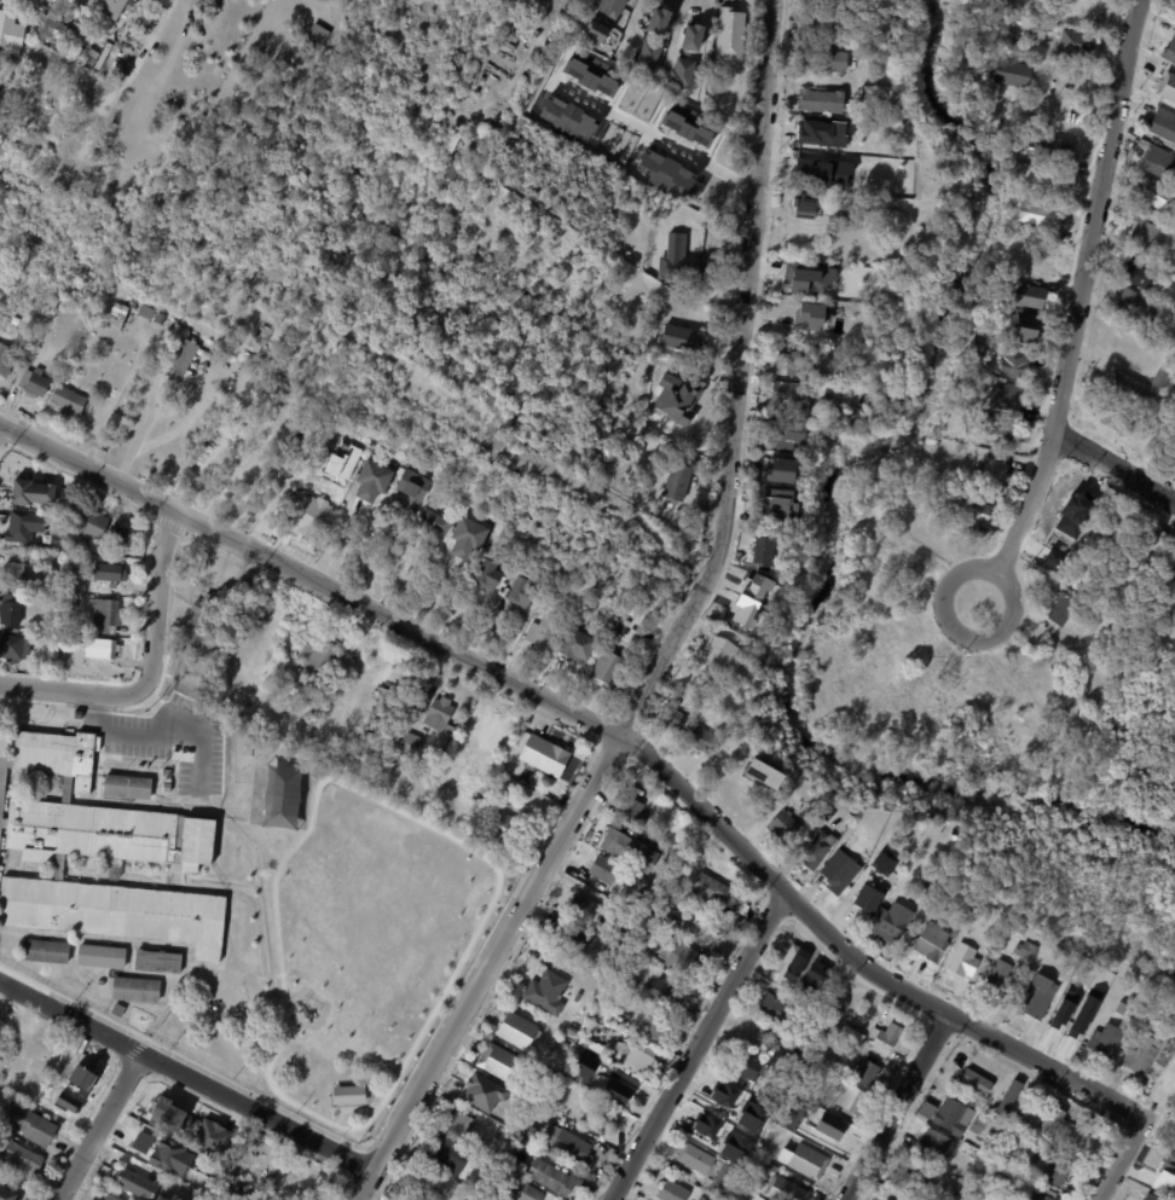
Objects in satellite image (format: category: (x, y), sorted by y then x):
building: (110, 7)
building: (610, 7)
building: (44, 8)
road: (554, 10)
building: (656, 19)
building: (817, 28)
building: (12, 30)
building: (595, 30)
building: (729, 31)
building: (313, 35)
building: (691, 35)
building: (1077, 45)
building: (1170, 50)
building: (299, 53)
building: (868, 53)
building: (646, 56)
building: (823, 60)
building: (4, 63)
building: (65, 70)
building: (681, 71)
building: (1009, 74)
building: (1167, 86)
building: (820, 102)
building: (44, 114)
building: (1163, 123)
road: (653, 128)
building: (810, 132)
building: (838, 133)
building: (1050, 150)
building: (1156, 158)
building: (664, 173)
building: (843, 178)
building: (872, 181)
building: (127, 184)
building: (1154, 195)
building: (803, 203)
building: (1135, 211)
building: (1036, 213)
building: (125, 215)
building: (835, 218)
building: (1147, 236)
building: (1174, 260)
building: (683, 267)
building: (1138, 272)
building: (793, 277)
road: (1082, 289)
building: (821, 290)
building: (1023, 295)
building: (1136, 305)
building: (152, 314)
building: (811, 315)
building: (117, 317)
building: (1024, 325)
building: (261, 335)
building: (679, 338)
building: (979, 348)
building: (186, 358)
building: (7, 360)
building: (788, 363)
building: (1012, 363)
road: (736, 378)
building: (832, 378)
building: (1121, 378)
building: (245, 382)
building: (37, 384)
building: (798, 395)
building: (1005, 396)
building: (69, 401)
building: (852, 413)
building: (1113, 418)
building: (999, 425)
building: (785, 434)
building: (940, 446)
building: (955, 451)
building: (342, 459)
road: (207, 464)
road: (1115, 466)
building: (778, 470)
building: (991, 475)
building: (795, 477)
building: (676, 480)
building: (370, 482)
building: (410, 485)
building: (34, 492)
building: (1073, 503)
building: (967, 509)
building: (311, 516)
building: (679, 520)
building: (94, 523)
building: (433, 523)
building: (1069, 526)
building: (1086, 526)
building: (21, 527)
building: (1113, 528)
building: (125, 537)
building: (465, 538)
building: (1080, 539)
building: (1153, 544)
road: (366, 550)
building: (760, 550)
building: (1169, 572)
building: (112, 573)
building: (17, 574)
building: (486, 574)
road: (309, 578)
building: (759, 580)
building: (517, 592)
road: (943, 592)
building: (1063, 607)
building: (736, 609)
building: (15, 610)
building: (110, 614)
building: (207, 620)
building: (624, 621)
building: (540, 632)
building: (57, 634)
building: (573, 645)
building: (17, 647)
building: (104, 648)
building: (718, 651)
building: (319, 657)
road: (152, 669)
building: (603, 669)
building: (733, 674)
building: (291, 688)
building: (384, 711)
building: (440, 713)
building: (670, 718)
building: (481, 720)
building: (380, 721)
road: (147, 727)
building: (378, 729)
building: (497, 731)
building: (700, 740)
building: (412, 742)
parking lot: (172, 743)
road: (201, 752)
building: (447, 752)
building: (56, 754)
building: (546, 755)
building: (164, 771)
building: (762, 772)
building: (166, 779)
building: (126, 785)
building: (166, 785)
building: (65, 788)
building: (814, 800)
building: (522, 802)
building: (631, 813)
building: (782, 825)
building: (508, 828)
building: (861, 828)
building: (106, 833)
building: (629, 850)
building: (816, 850)
building: (881, 863)
building: (602, 869)
building: (840, 869)
building: (711, 891)
building: (580, 909)
building: (863, 909)
building: (114, 911)
building: (889, 922)
building: (617, 932)
road: (504, 939)
building: (586, 939)
building: (971, 940)
building: (930, 943)
building: (44, 950)
building: (1026, 953)
building: (99, 955)
road: (856, 957)
building: (603, 958)
building: (679, 958)
building: (801, 958)
building: (156, 961)
building: (961, 961)
building: (999, 976)
building: (786, 979)
building: (134, 989)
building: (544, 992)
building: (664, 996)
building: (1036, 997)
building: (772, 1009)
building: (121, 1010)
building: (1072, 1024)
building: (655, 1030)
building: (515, 1031)
building: (572, 1032)
building: (850, 1034)
building: (882, 1038)
building: (1104, 1040)
building: (562, 1044)
building: (589, 1045)
road: (700, 1045)
building: (1140, 1055)
building: (637, 1059)
building: (780, 1059)
building: (498, 1063)
building: (71, 1065)
building: (742, 1066)
building: (863, 1073)
road: (186, 1076)
building: (808, 1078)
building: (973, 1082)
building: (620, 1090)
building: (554, 1092)
building: (347, 1094)
building: (481, 1094)
building: (533, 1096)
building: (731, 1098)
building: (772, 1098)
building: (849, 1098)
building: (59, 1105)
road: (897, 1106)
building: (925, 1111)
building: (166, 1112)
building: (602, 1115)
building: (814, 1117)
building: (951, 1117)
building: (457, 1123)
building: (34, 1125)
road: (99, 1126)
building: (754, 1126)
building: (976, 1126)
building: (707, 1127)
building: (1057, 1129)
building: (531, 1134)
building: (207, 1135)
building: (504, 1144)
building: (525, 1144)
building: (566, 1146)
building: (933, 1146)
building: (1011, 1148)
building: (724, 1153)
building: (446, 1155)
building: (27, 1158)
building: (694, 1159)
road: (1118, 1159)
building: (801, 1161)
building: (1049, 1170)
road: (372, 1172)
building: (276, 1173)
building: (551, 1178)
building: (913, 1178)
building: (1013, 1178)
building: (1163, 1178)
building: (307, 1179)
building: (722, 1181)
building: (138, 1183)
building: (741, 1184)
building: (505, 1185)
building: (746, 1187)
building: (781, 1190)
building: (672, 1192)
building: (523, 1193)
building: (737, 1193)
building: (7, 1194)
building: (1046, 1195)
building: (893, 1196)
building: (1147, 1196)
building: (112, 1198)
building: (403, 1198)
building: (702, 1199)

